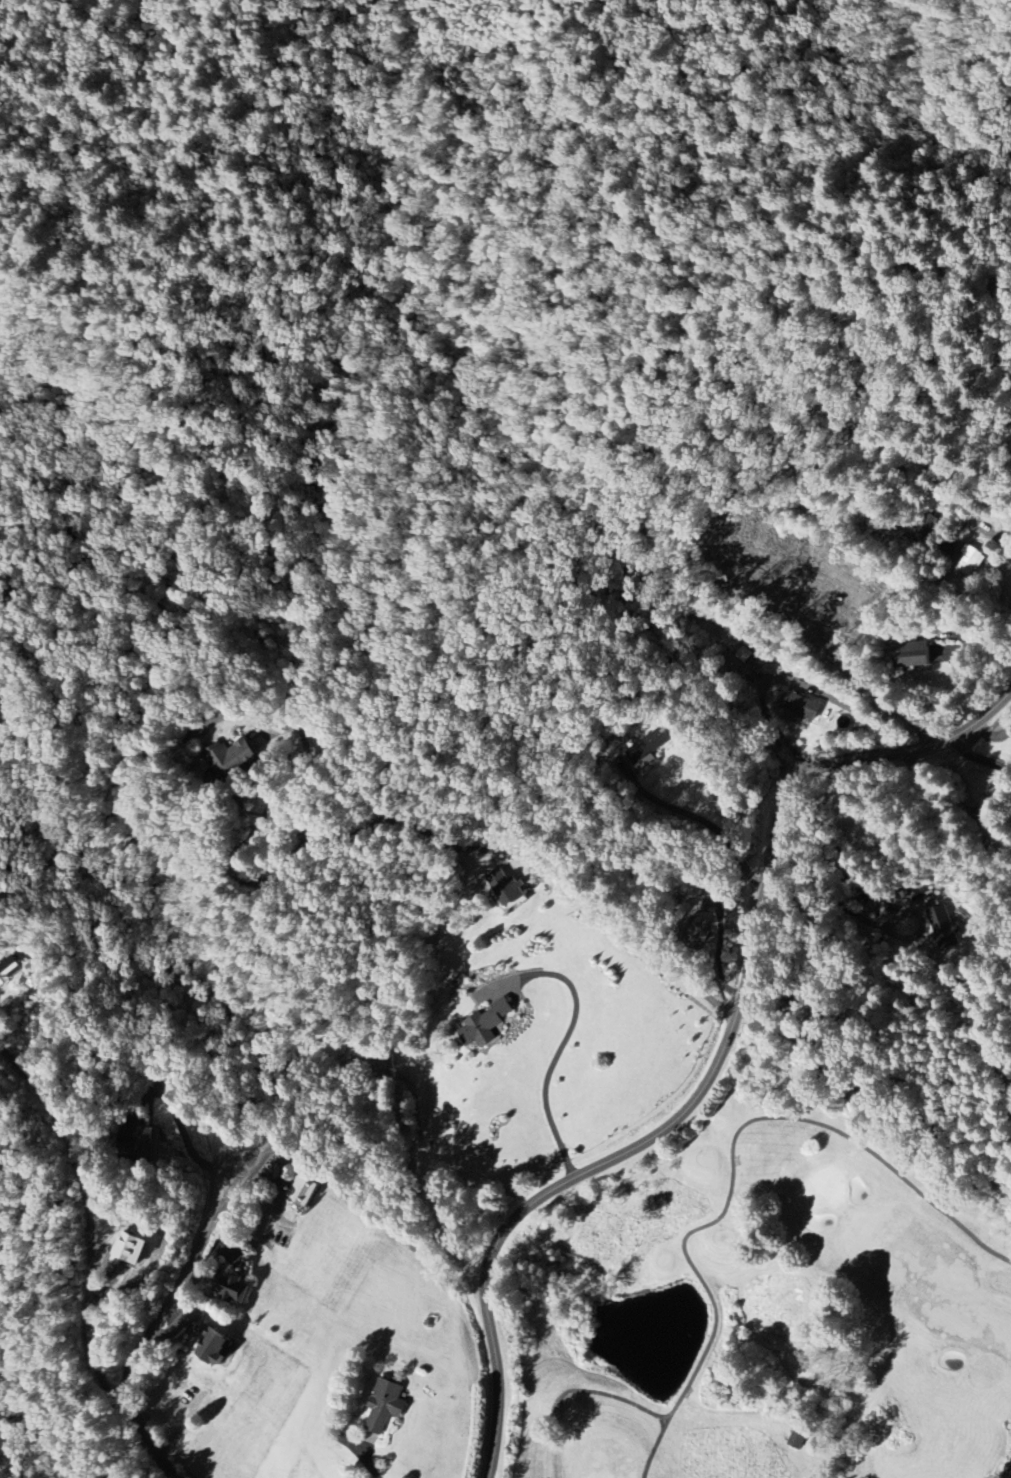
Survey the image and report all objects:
road: (938, 82)
road: (997, 540)
building: (971, 562)
road: (972, 644)
building: (913, 656)
road: (791, 678)
building: (800, 706)
road: (992, 735)
building: (656, 742)
road: (978, 757)
building: (235, 760)
road: (703, 819)
road: (411, 821)
building: (505, 888)
building: (940, 928)
road: (719, 959)
building: (486, 1015)
road: (557, 1051)
road: (719, 1065)
road: (177, 1118)
road: (267, 1151)
building: (304, 1191)
road: (90, 1223)
building: (129, 1250)
building: (233, 1290)
park: (769, 1306)
road: (154, 1326)
building: (214, 1347)
building: (384, 1407)
building: (797, 1440)
road: (368, 1458)

